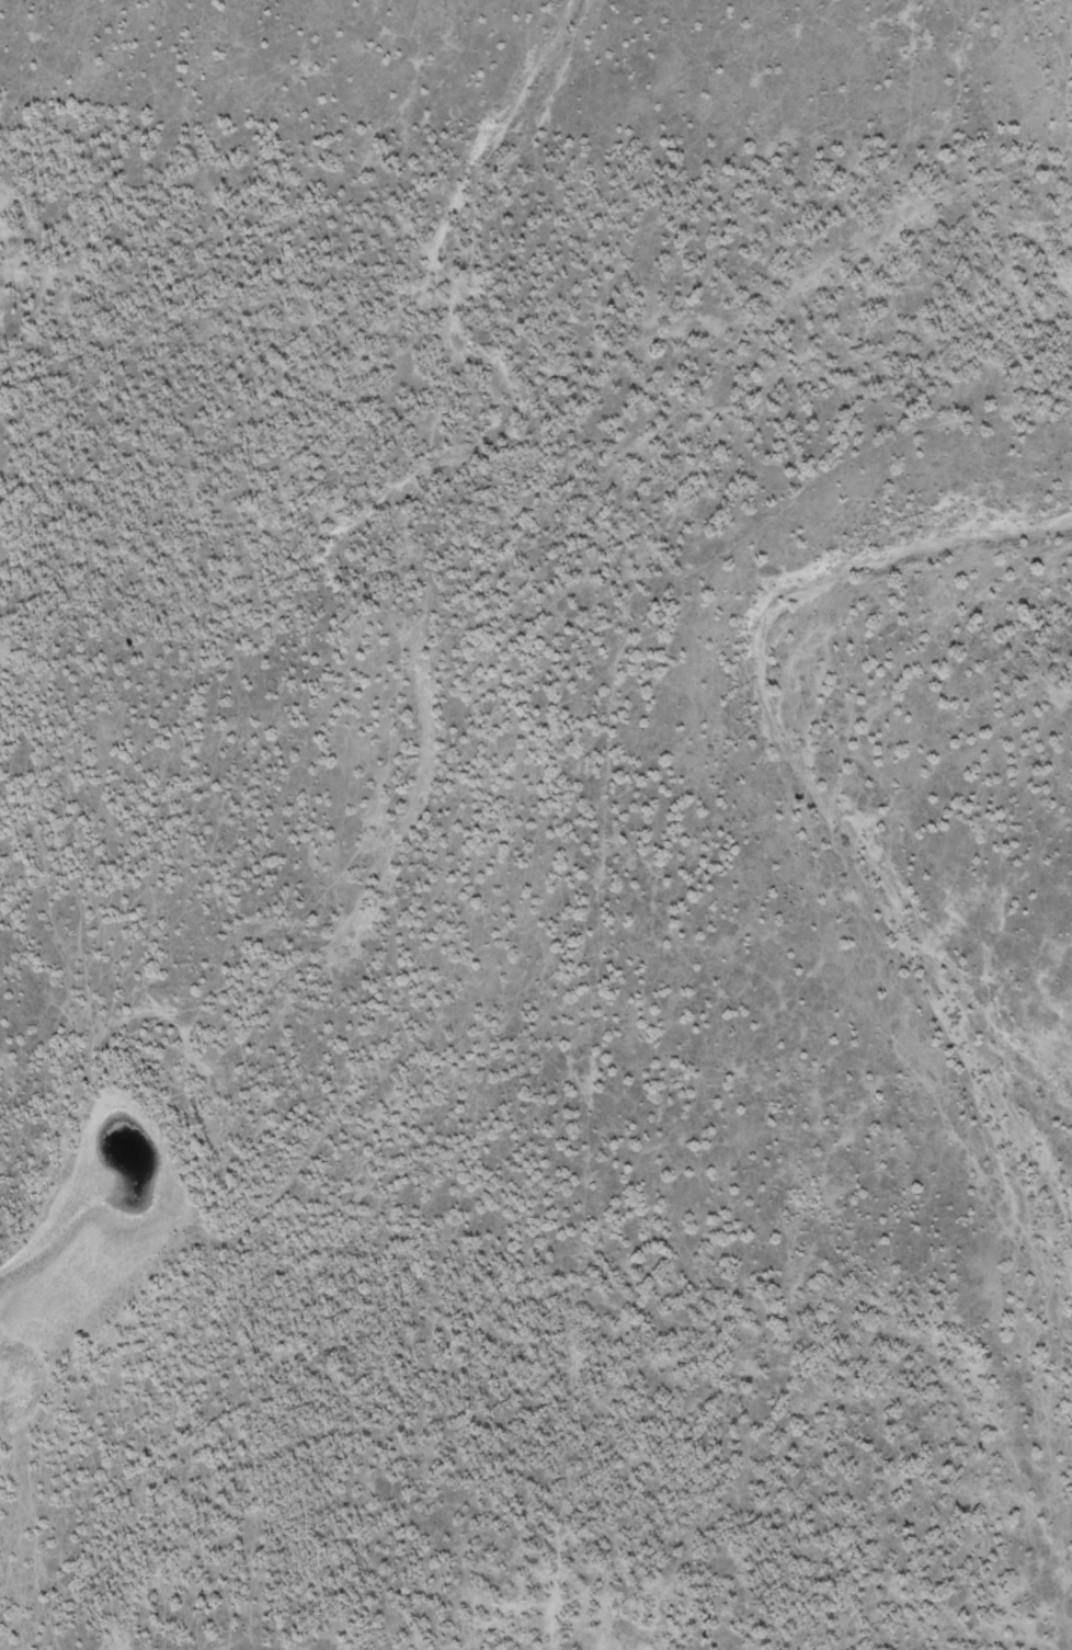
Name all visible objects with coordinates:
road: (19, 1163)

